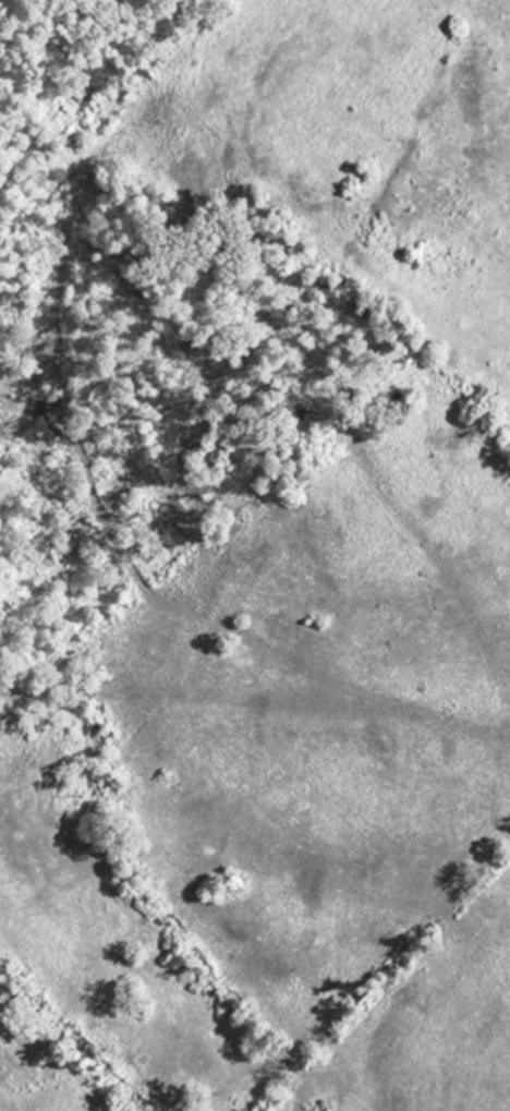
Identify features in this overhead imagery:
crop: (45, 1066)

